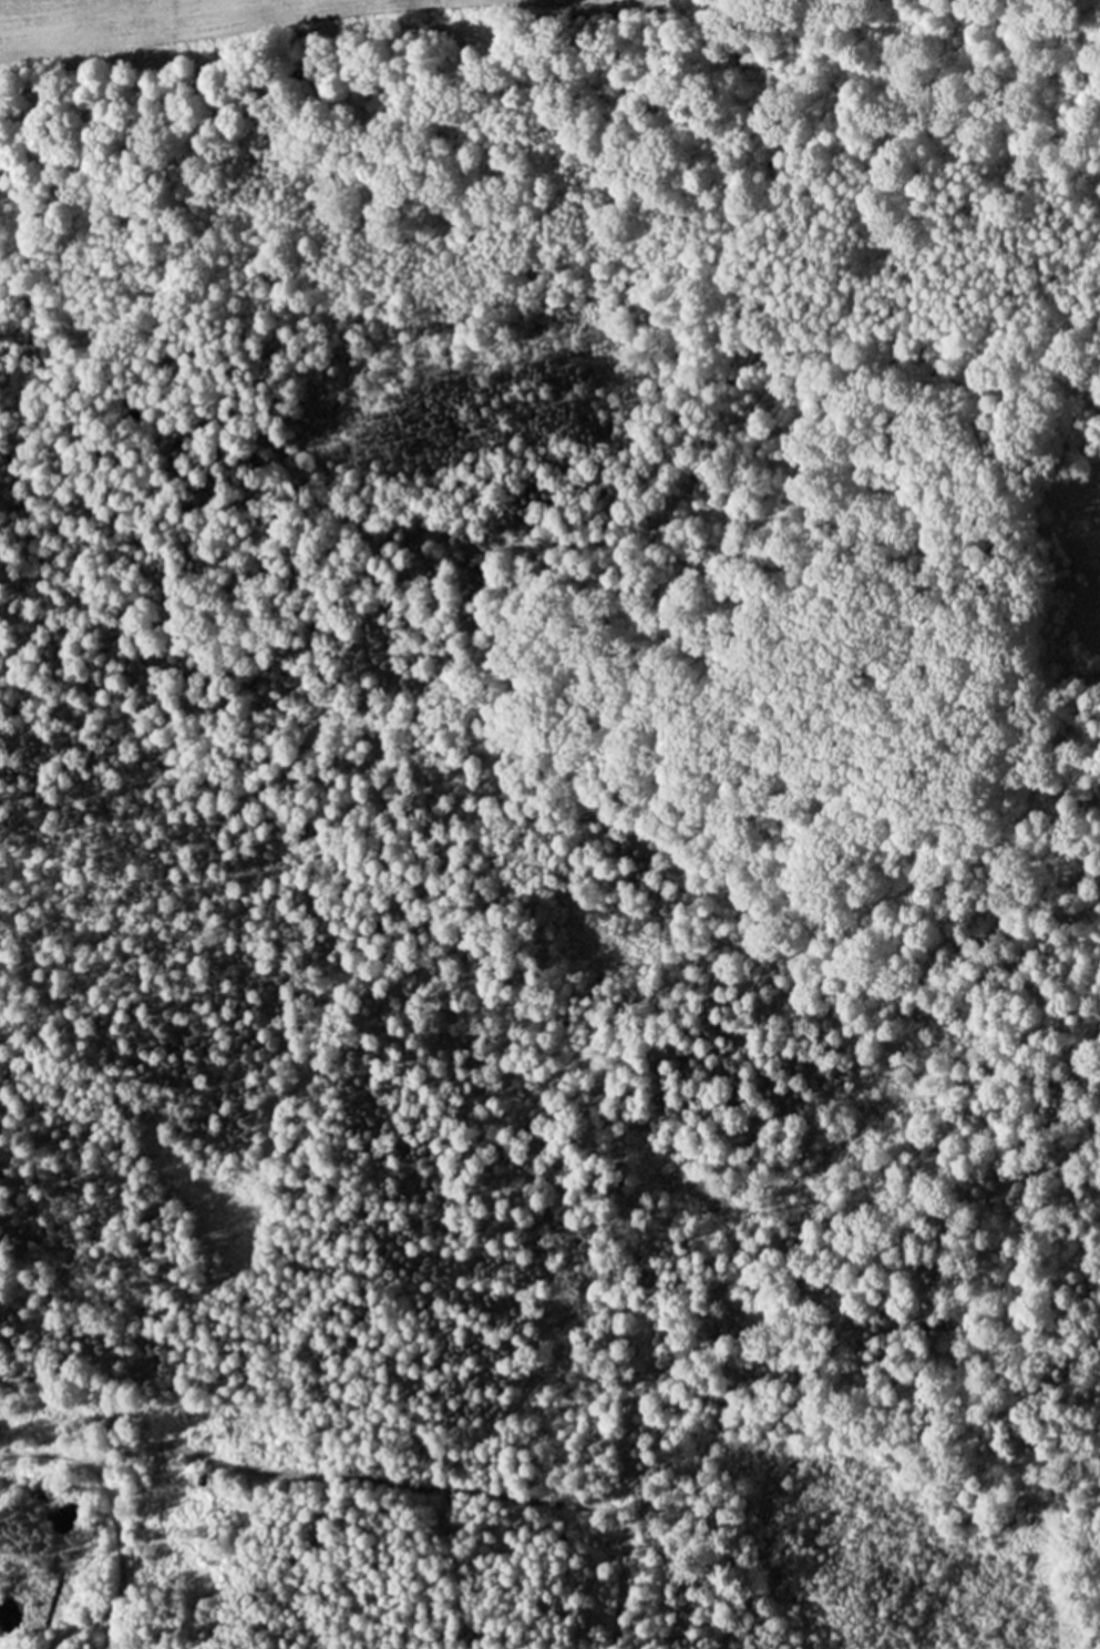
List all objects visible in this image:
quarry: (97, 1527)

